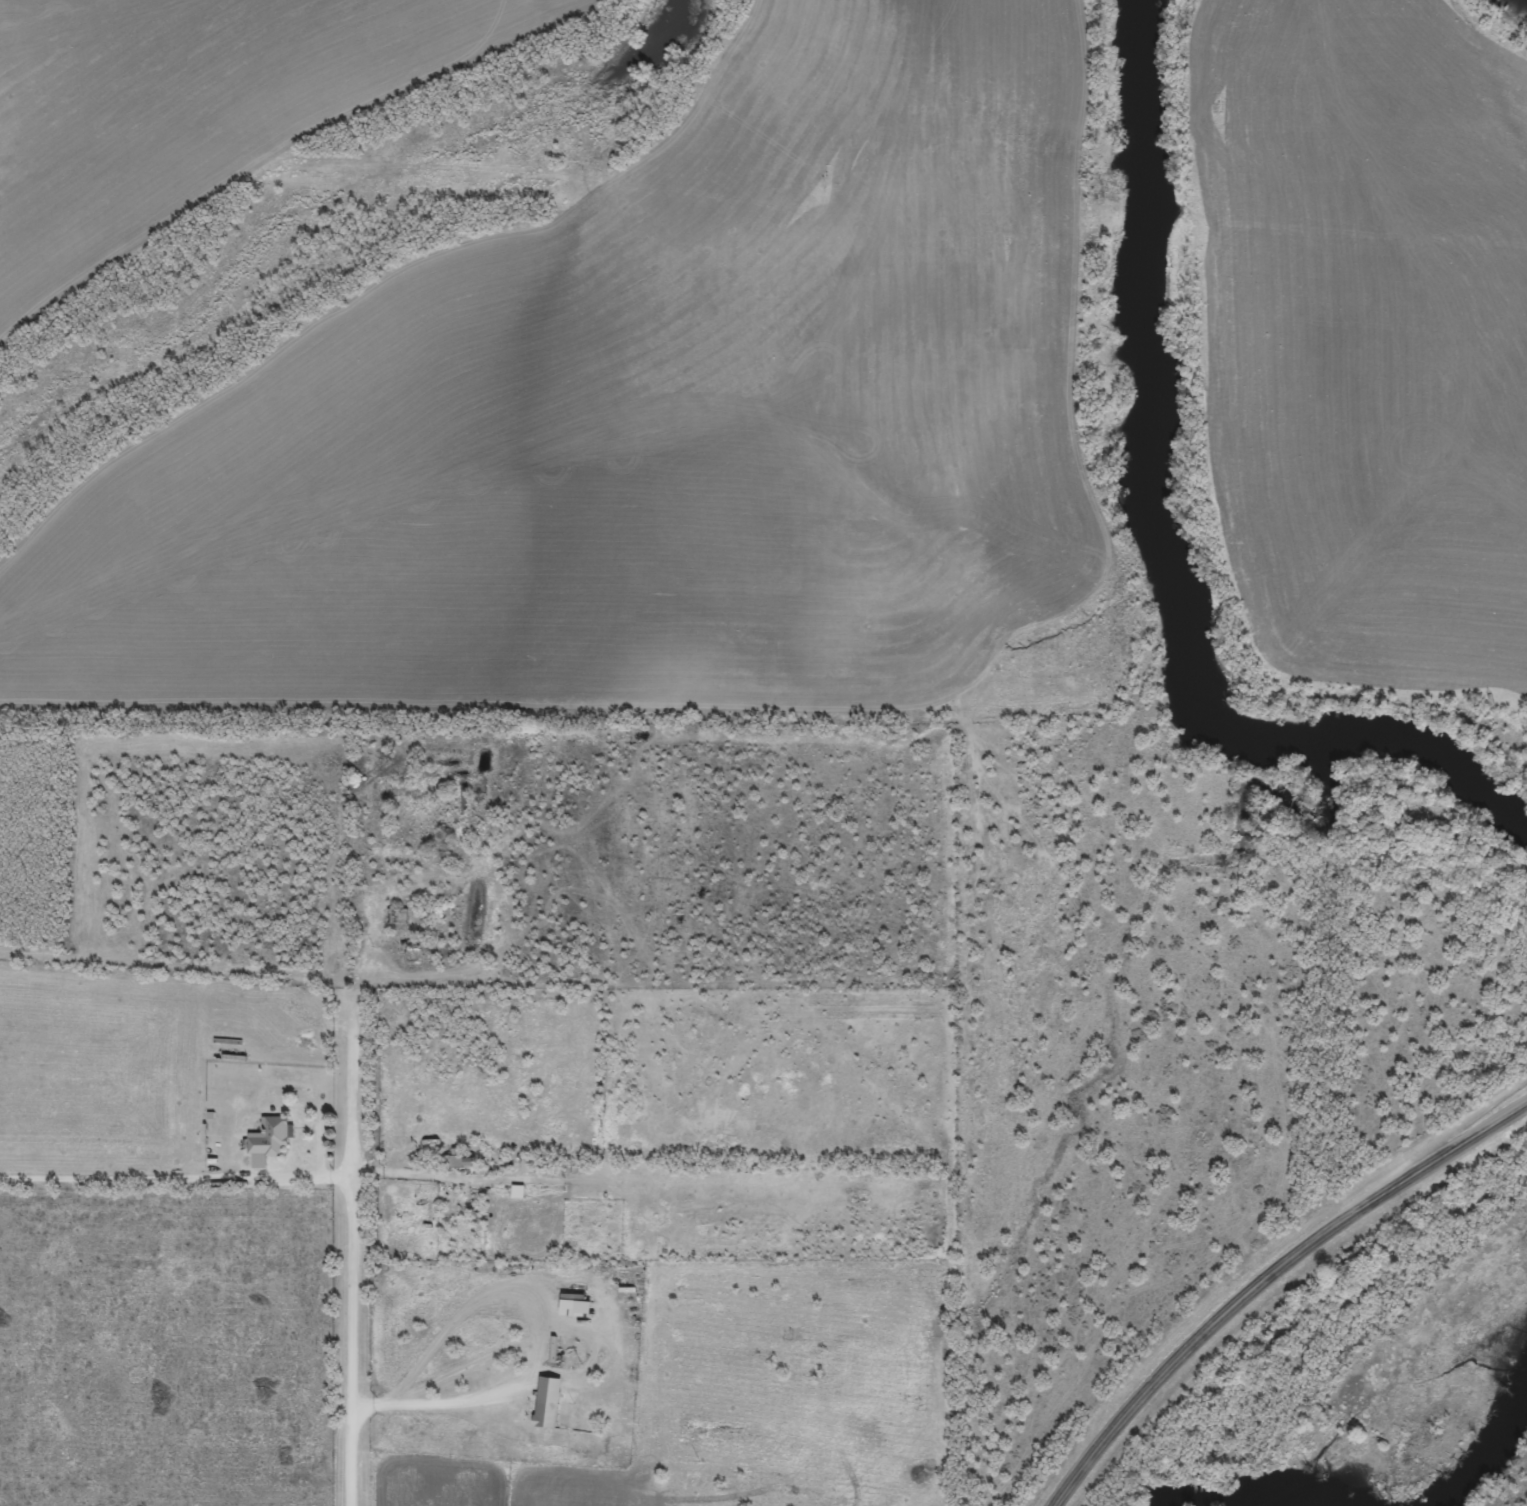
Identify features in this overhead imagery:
building: (269, 1140)
road: (1272, 1279)
road: (350, 1341)
building: (547, 1402)

